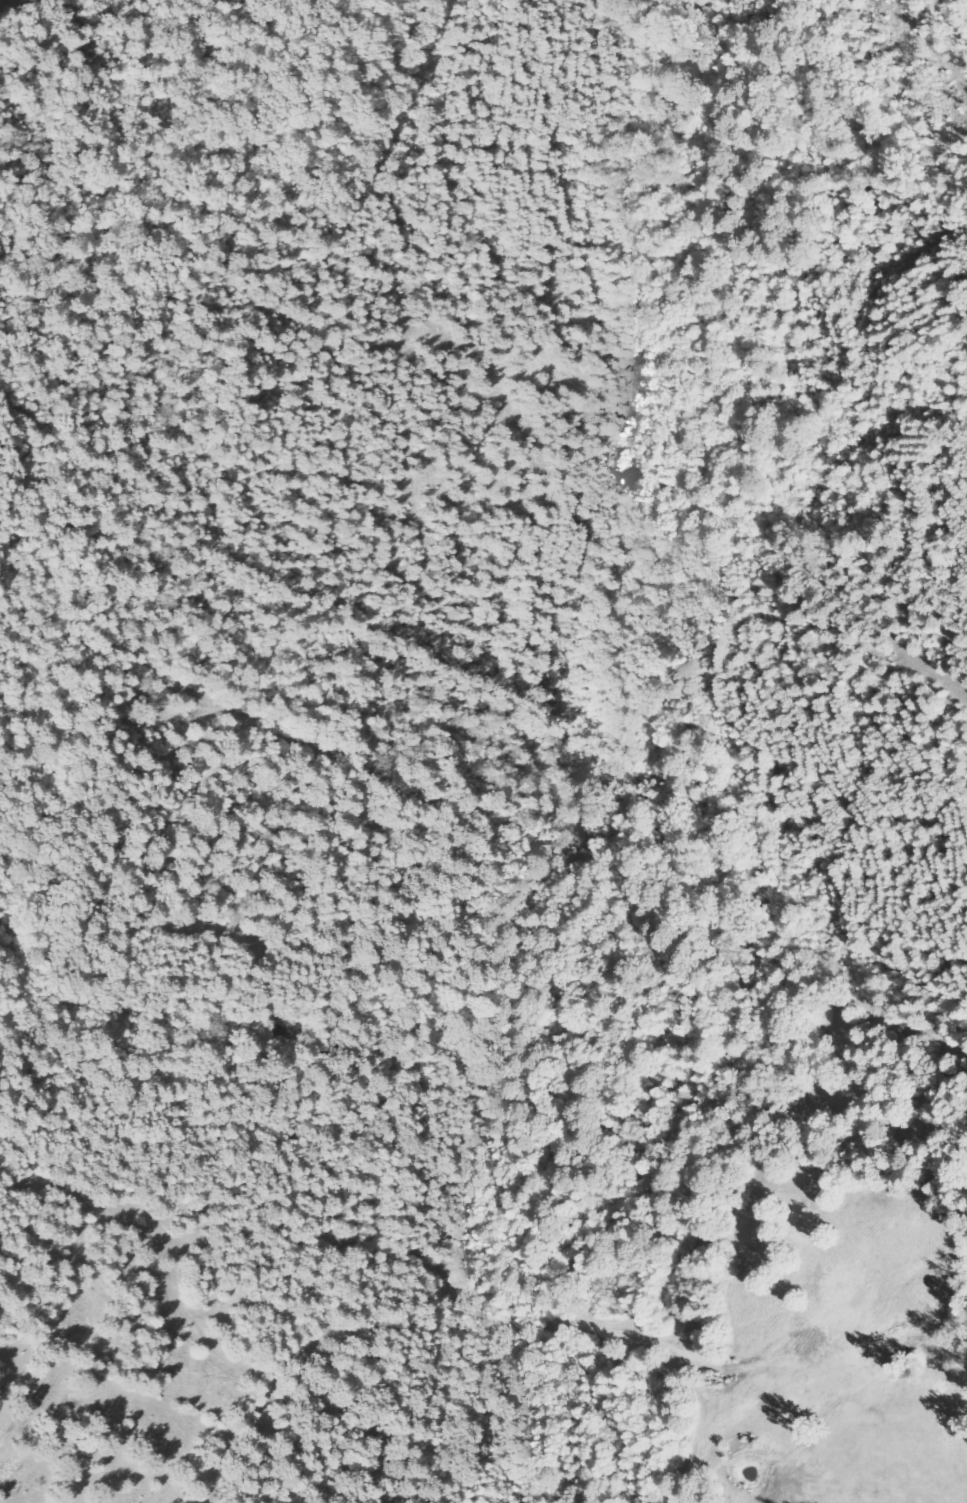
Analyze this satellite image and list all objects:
park: (961, 1176)

